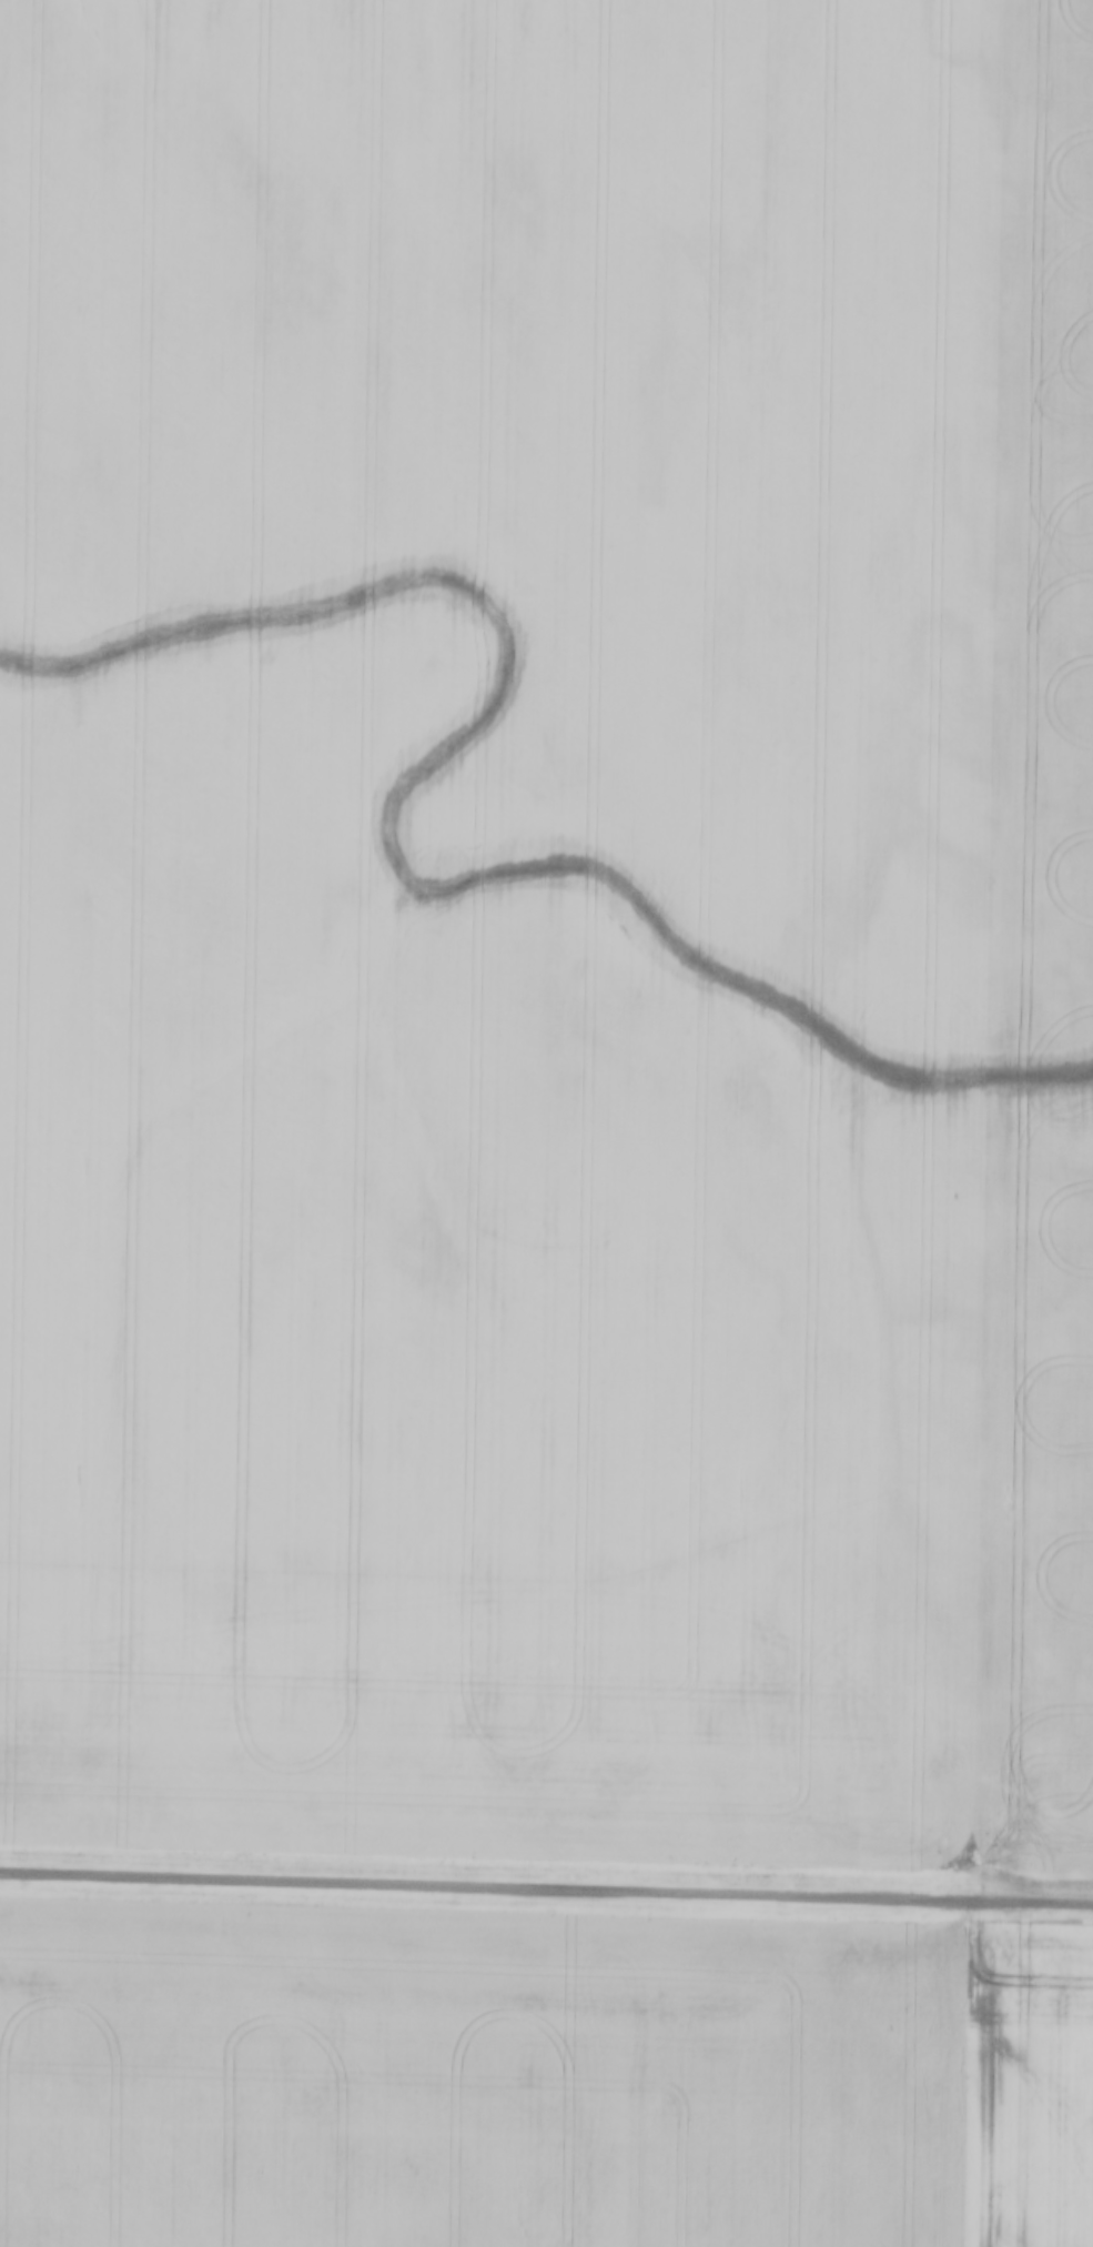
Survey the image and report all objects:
road: (546, 1886)

